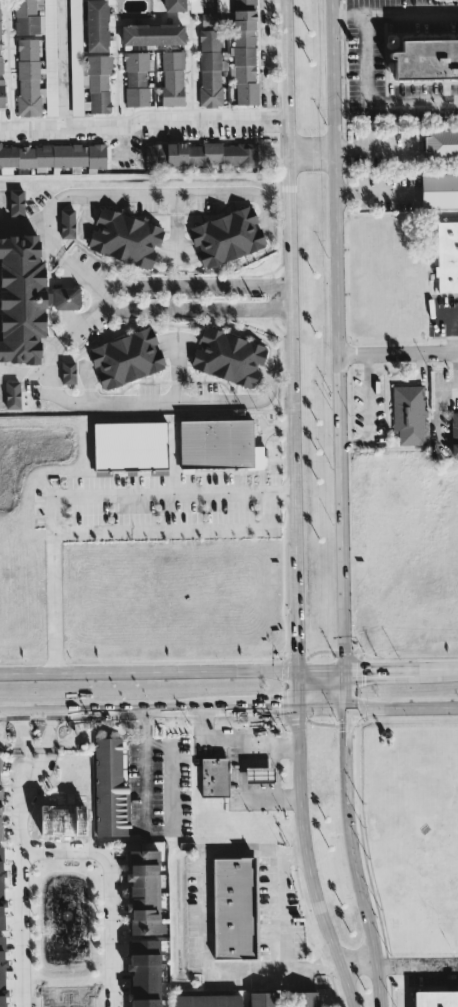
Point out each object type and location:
building: (175, 4)
building: (192, 5)
building: (220, 5)
road: (399, 12)
building: (22, 16)
building: (47, 17)
building: (96, 25)
building: (153, 32)
building: (244, 55)
building: (419, 58)
road: (62, 65)
building: (207, 67)
building: (136, 77)
building: (170, 78)
building: (32, 81)
building: (97, 81)
building: (0, 95)
road: (372, 98)
road: (143, 121)
building: (438, 142)
road: (372, 149)
road: (313, 152)
building: (199, 153)
building: (50, 155)
building: (436, 190)
road: (371, 191)
road: (69, 196)
building: (12, 202)
road: (1, 209)
building: (62, 223)
road: (176, 228)
road: (23, 229)
building: (221, 235)
building: (119, 237)
building: (444, 256)
road: (280, 297)
road: (287, 297)
building: (15, 298)
building: (57, 298)
road: (451, 333)
road: (293, 334)
road: (337, 334)
road: (398, 351)
building: (222, 356)
building: (120, 357)
road: (176, 368)
road: (23, 371)
building: (63, 372)
building: (8, 394)
road: (166, 402)
building: (408, 413)
building: (454, 433)
building: (213, 444)
building: (123, 445)
road: (173, 456)
road: (85, 495)
road: (179, 530)
traffic signals: (299, 652)
road: (402, 667)
road: (322, 668)
traffic signals: (365, 668)
road: (149, 671)
road: (346, 688)
road: (299, 689)
road: (402, 707)
road: (323, 708)
road: (278, 709)
traffic signals: (279, 709)
road: (230, 710)
road: (100, 712)
road: (258, 723)
road: (300, 728)
traffic signals: (347, 730)
road: (217, 737)
road: (267, 742)
road: (288, 747)
road: (32, 766)
building: (259, 774)
building: (214, 777)
road: (243, 785)
building: (105, 786)
road: (276, 787)
road: (172, 814)
road: (59, 848)
road: (356, 858)
building: (134, 862)
road: (309, 880)
road: (19, 885)
building: (225, 908)
road: (201, 911)
road: (278, 926)
road: (109, 928)
road: (358, 954)
road: (421, 966)
building: (144, 986)
building: (262, 999)
building: (304, 999)
building: (436, 999)
building: (207, 1000)
building: (2, 1001)
building: (145, 1003)

